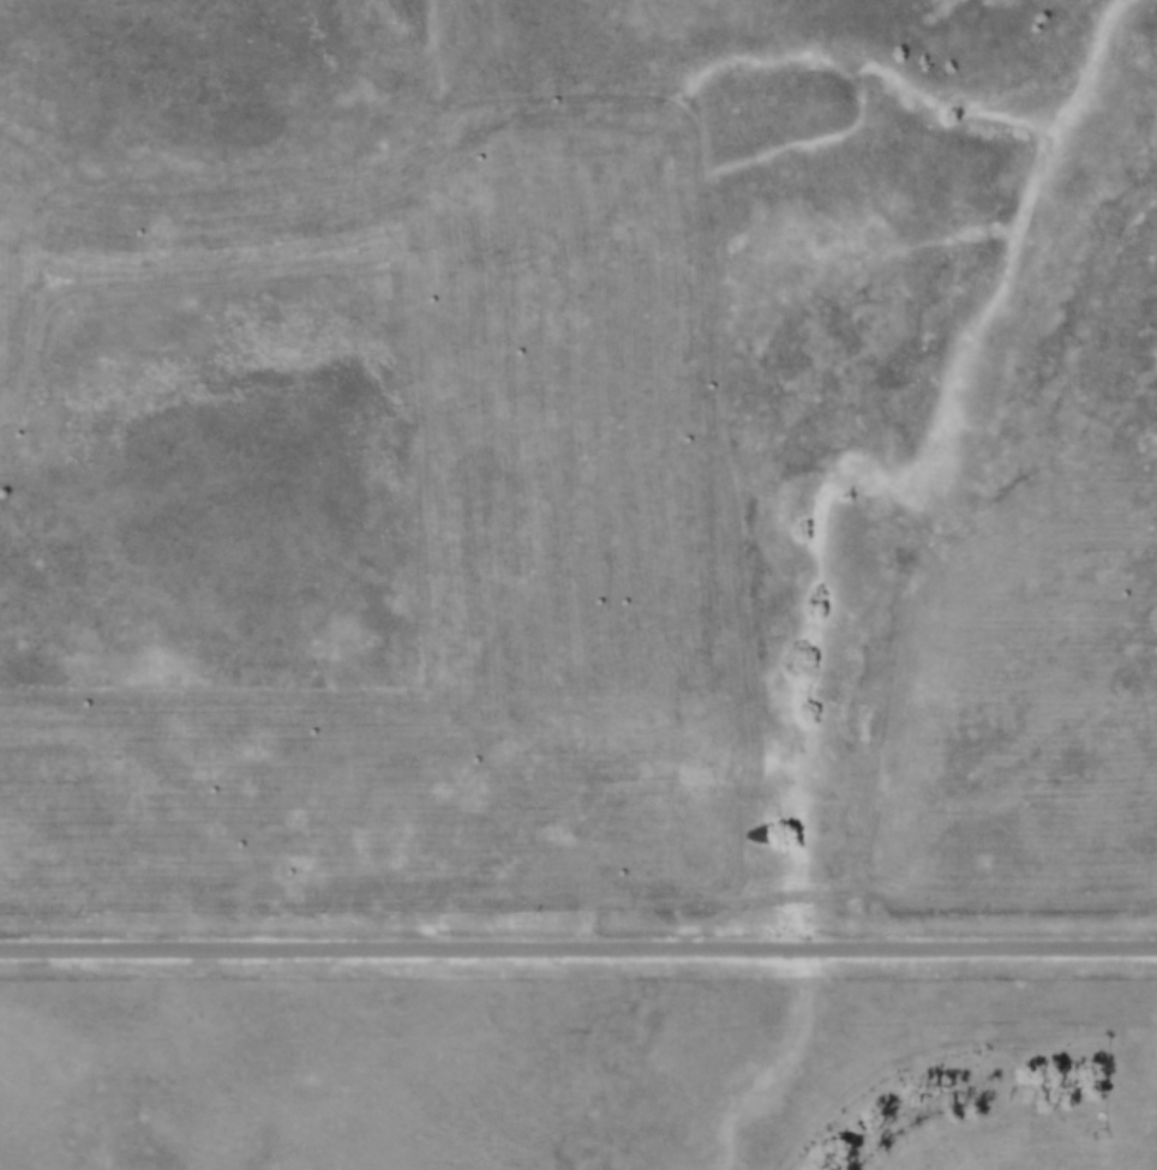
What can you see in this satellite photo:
road: (577, 947)

